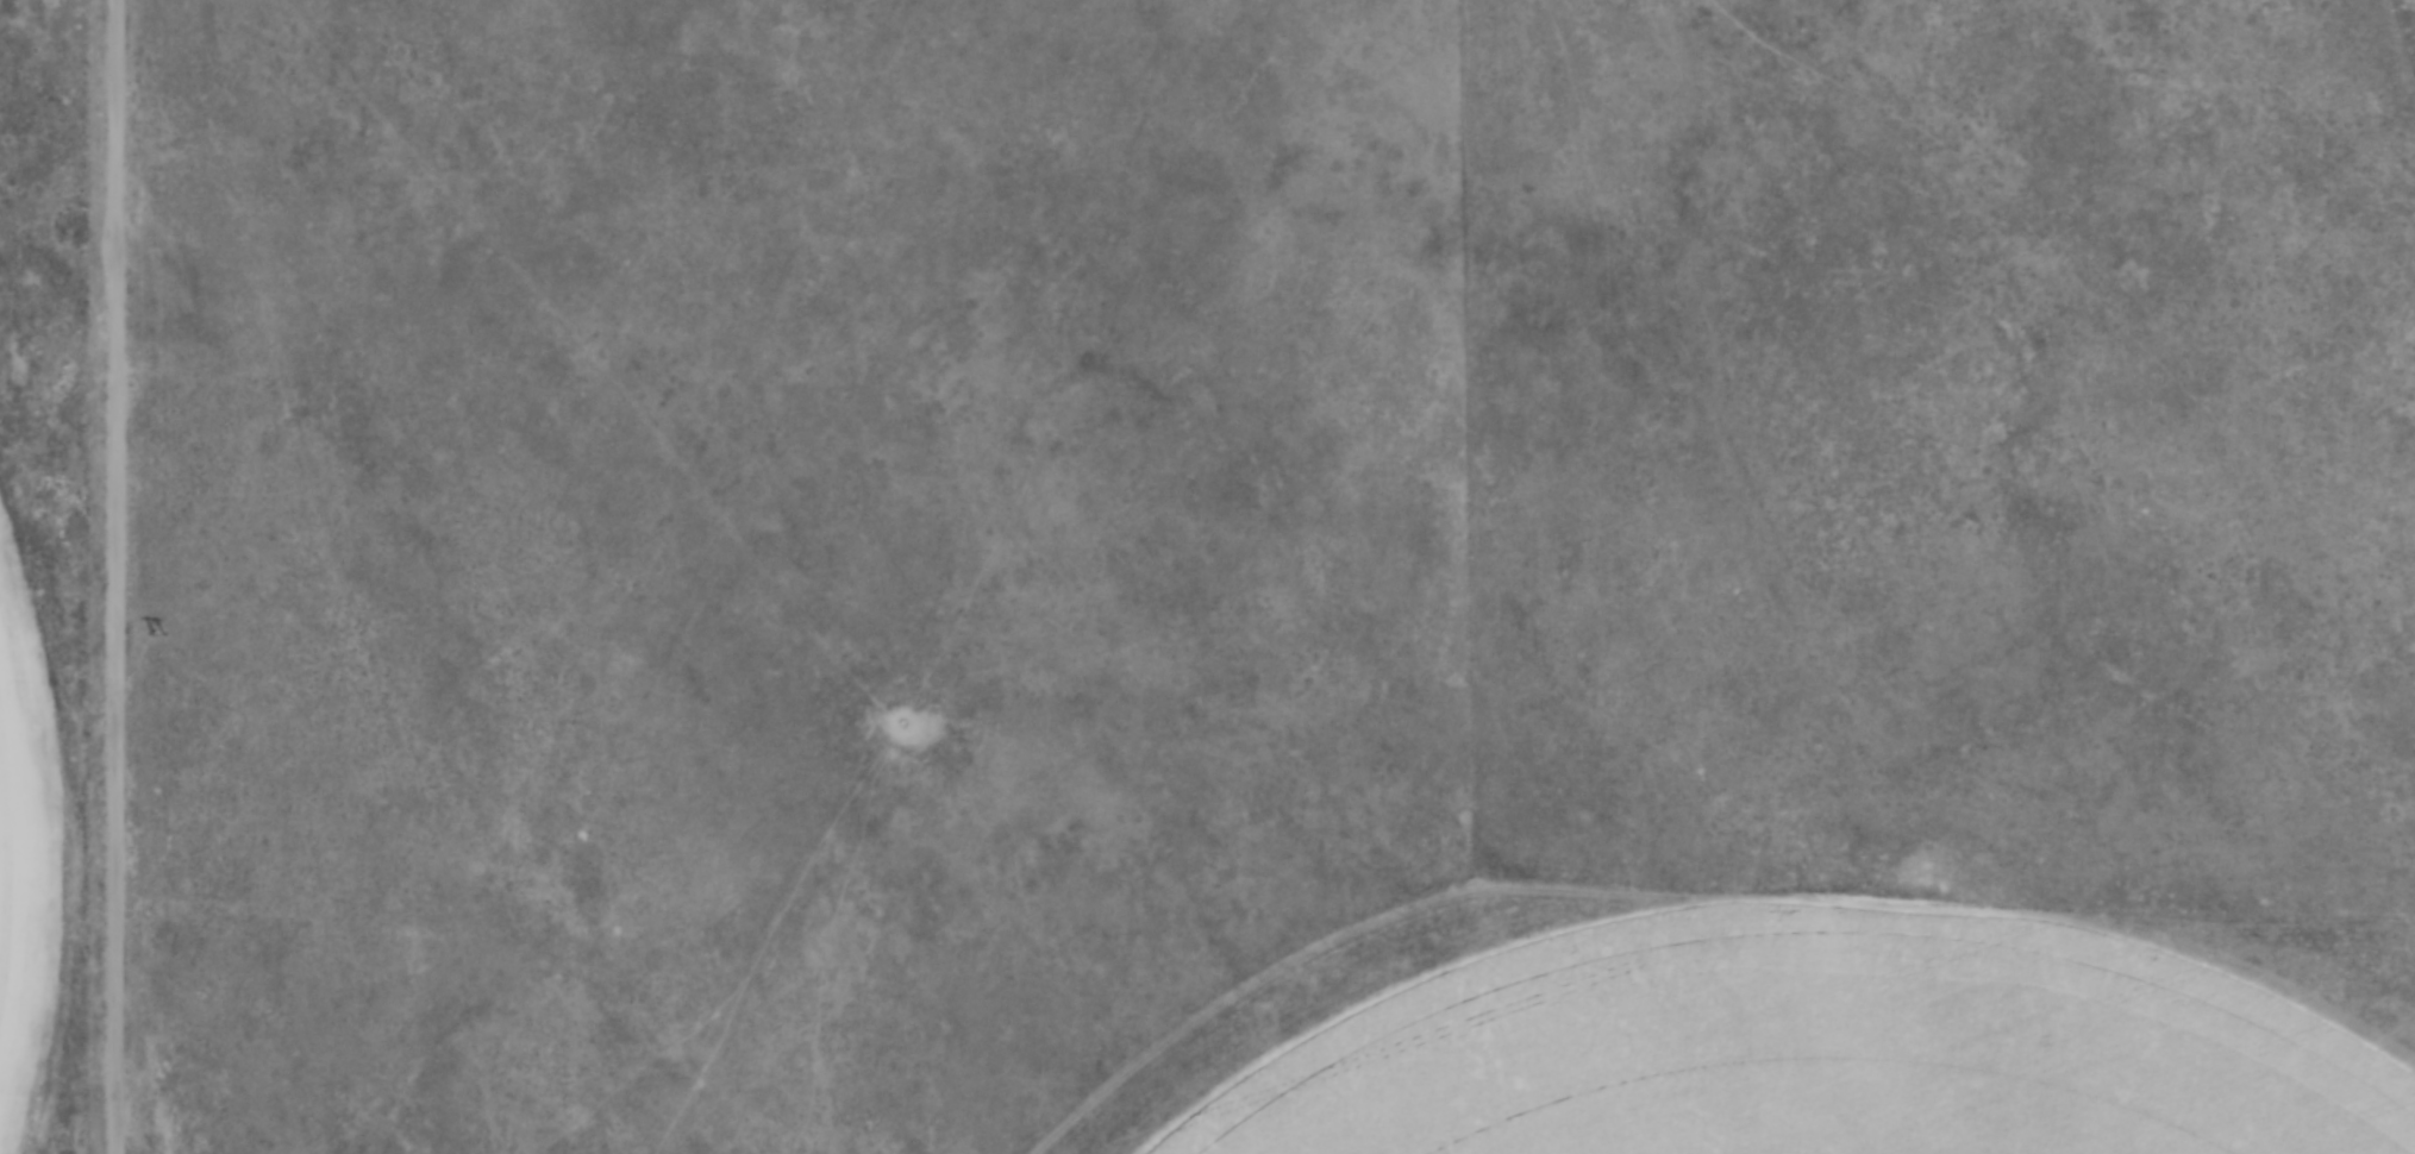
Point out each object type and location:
power tower: (155, 636)
crop: (21, 838)
crop: (1816, 1050)

